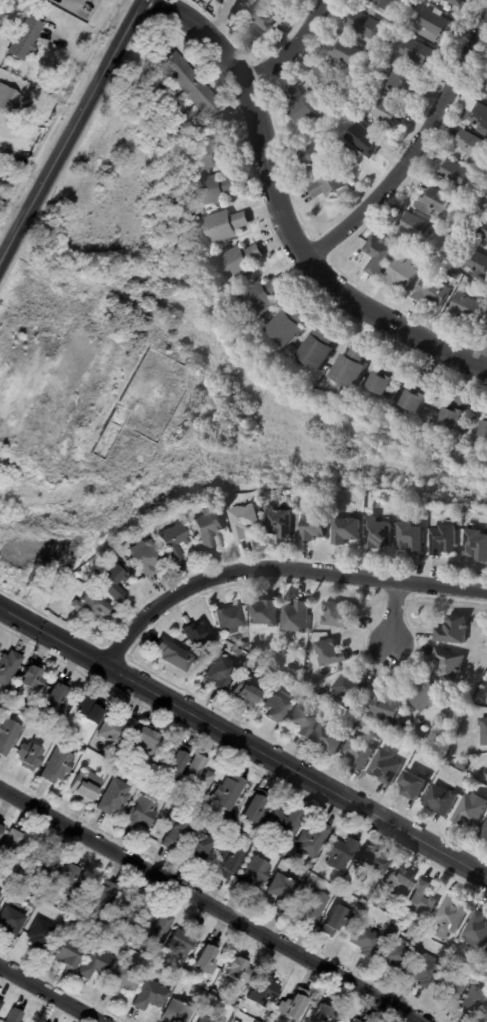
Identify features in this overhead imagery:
building: (290, 0)
building: (248, 2)
building: (457, 2)
building: (388, 4)
road: (219, 17)
building: (263, 18)
building: (363, 23)
building: (435, 24)
building: (8, 35)
building: (25, 39)
road: (59, 44)
building: (162, 46)
road: (296, 48)
building: (347, 52)
building: (420, 52)
building: (385, 60)
building: (365, 80)
building: (400, 81)
building: (325, 82)
building: (190, 84)
building: (486, 90)
road: (42, 94)
building: (9, 99)
building: (359, 99)
building: (303, 107)
building: (360, 111)
building: (389, 112)
building: (480, 117)
building: (221, 121)
road: (75, 134)
building: (325, 135)
building: (366, 140)
building: (473, 144)
building: (208, 155)
building: (318, 155)
road: (415, 155)
building: (456, 172)
building: (2, 173)
building: (482, 179)
building: (333, 186)
building: (217, 189)
building: (434, 201)
road: (287, 214)
building: (227, 226)
building: (414, 228)
building: (484, 232)
building: (451, 236)
building: (460, 242)
building: (380, 255)
building: (242, 261)
building: (479, 262)
building: (402, 273)
building: (455, 275)
building: (433, 292)
building: (264, 297)
building: (467, 309)
building: (290, 325)
building: (320, 347)
building: (352, 367)
building: (387, 379)
building: (420, 397)
building: (459, 414)
building: (485, 430)
building: (242, 520)
building: (277, 522)
building: (312, 526)
building: (207, 528)
building: (344, 529)
building: (376, 533)
building: (408, 537)
building: (171, 540)
building: (442, 540)
building: (475, 544)
building: (144, 557)
road: (279, 568)
building: (108, 578)
building: (88, 606)
road: (394, 610)
building: (262, 612)
building: (336, 613)
building: (294, 617)
building: (227, 618)
building: (452, 630)
building: (195, 633)
building: (329, 652)
building: (172, 654)
building: (447, 662)
building: (7, 666)
building: (218, 670)
building: (29, 677)
building: (349, 686)
building: (245, 689)
building: (424, 693)
building: (55, 695)
building: (486, 698)
building: (273, 705)
building: (385, 705)
building: (86, 709)
building: (301, 720)
building: (112, 723)
building: (483, 730)
building: (6, 732)
building: (143, 735)
building: (327, 736)
road: (243, 741)
building: (357, 751)
building: (26, 755)
building: (174, 759)
building: (55, 764)
building: (384, 766)
building: (486, 768)
building: (195, 773)
building: (412, 784)
building: (83, 786)
building: (226, 792)
building: (112, 796)
building: (440, 799)
building: (252, 808)
building: (471, 809)
building: (139, 812)
building: (282, 822)
building: (0, 824)
building: (484, 830)
building: (172, 831)
building: (310, 837)
building: (196, 841)
building: (8, 844)
building: (338, 852)
building: (368, 859)
building: (225, 861)
building: (44, 865)
building: (253, 872)
building: (64, 876)
building: (396, 878)
building: (281, 886)
building: (97, 897)
building: (420, 900)
building: (311, 902)
road: (211, 905)
building: (125, 914)
building: (449, 915)
building: (332, 920)
building: (9, 921)
building: (153, 925)
building: (476, 929)
building: (38, 933)
building: (362, 938)
building: (180, 943)
building: (389, 949)
building: (64, 955)
building: (204, 957)
building: (91, 963)
building: (236, 967)
building: (421, 969)
building: (118, 981)
building: (449, 986)
building: (262, 989)
road: (49, 994)
building: (148, 995)
building: (473, 1000)
building: (0, 1002)
building: (291, 1004)
building: (175, 1011)
building: (318, 1012)
building: (12, 1015)
building: (207, 1019)
building: (345, 1021)

